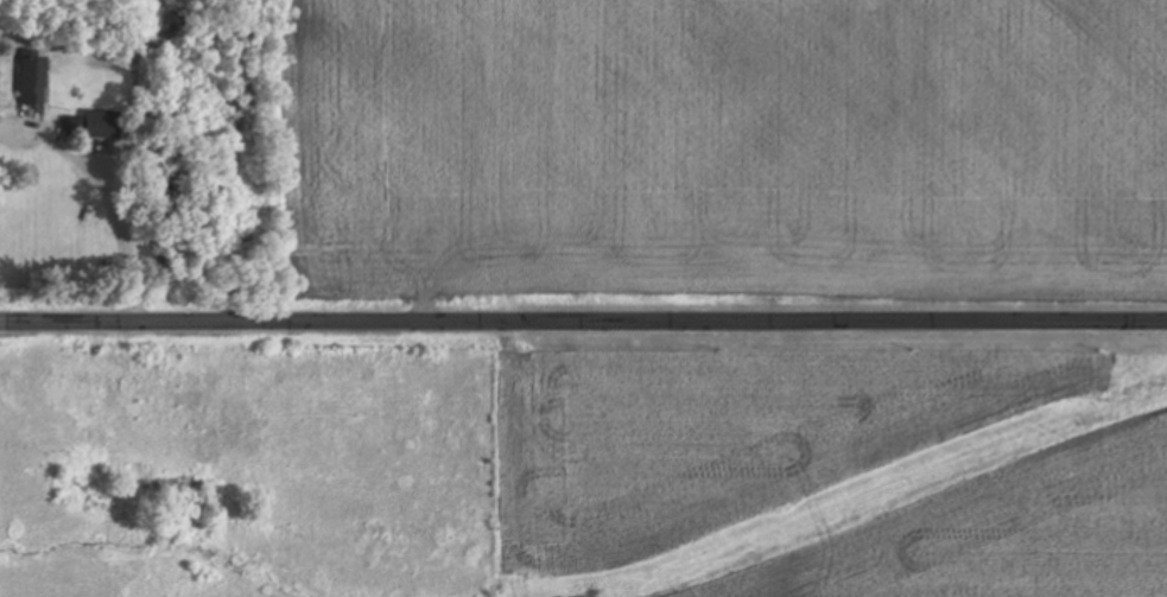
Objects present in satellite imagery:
building: (36, 83)
building: (104, 126)
road: (583, 322)

